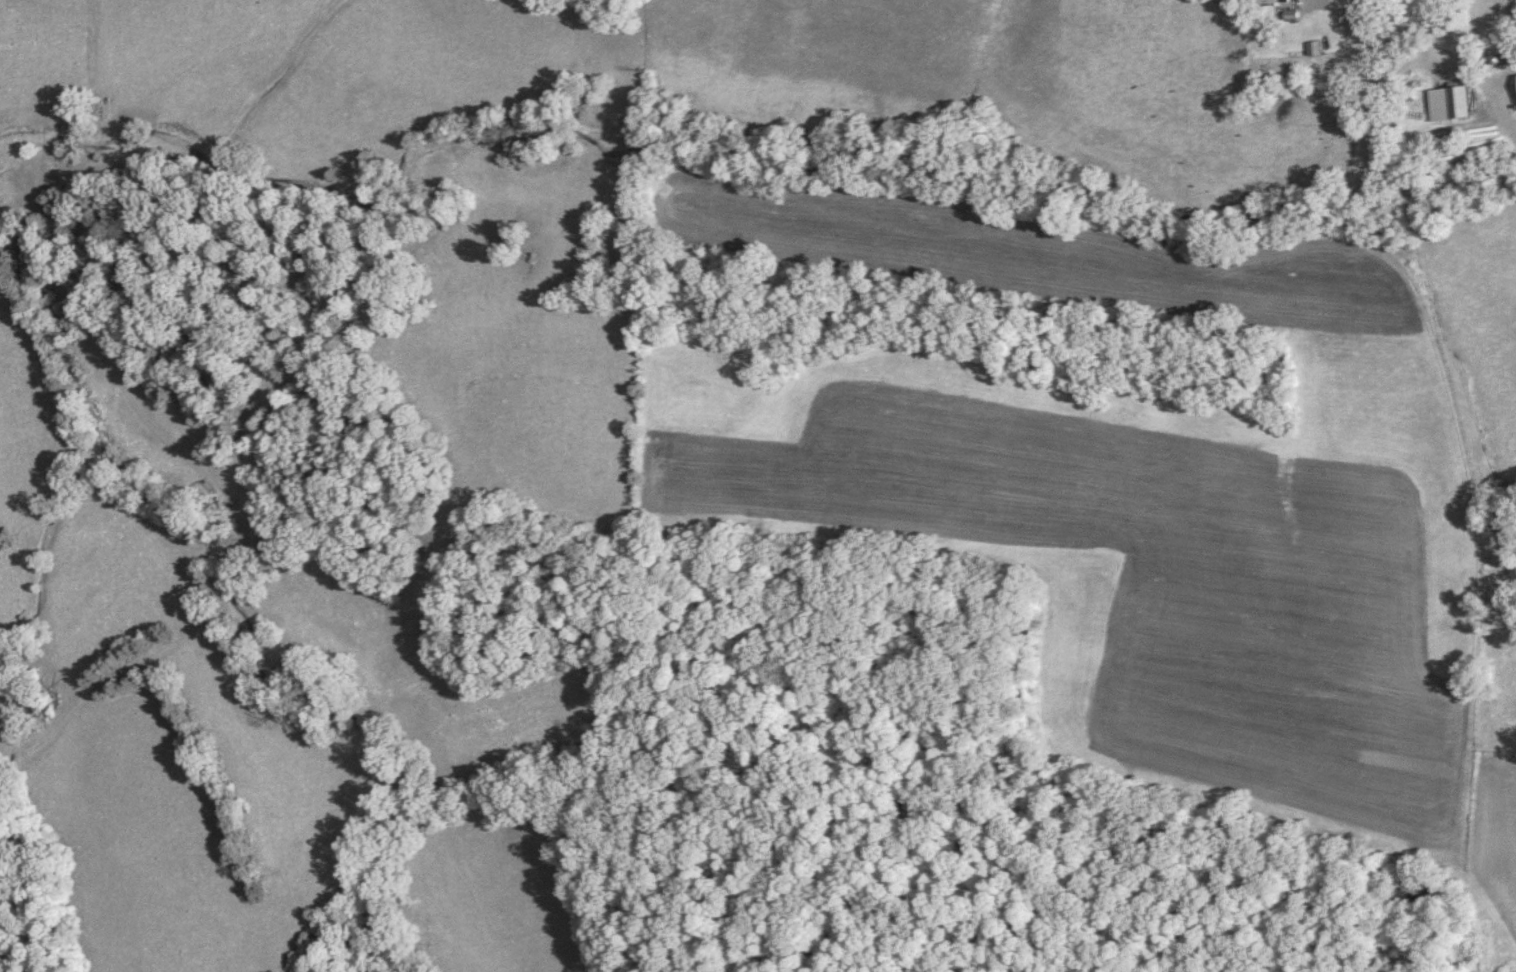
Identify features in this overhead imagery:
building: (1265, 1)
building: (1312, 47)
road: (1432, 49)
building: (1447, 102)

